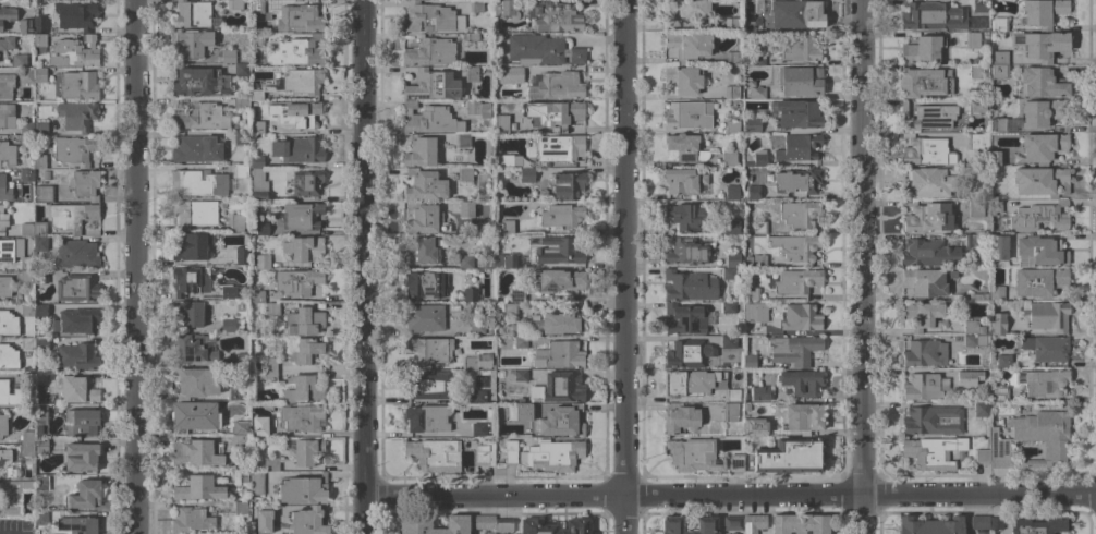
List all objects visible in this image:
building: (235, 4)
building: (475, 5)
building: (978, 5)
building: (256, 7)
building: (503, 7)
building: (689, 11)
building: (1043, 12)
building: (795, 13)
building: (75, 14)
building: (191, 14)
building: (7, 15)
building: (553, 15)
building: (435, 16)
building: (933, 16)
building: (300, 19)
building: (39, 24)
building: (731, 24)
building: (998, 24)
building: (24, 25)
building: (472, 37)
building: (256, 39)
building: (972, 40)
building: (7, 43)
building: (39, 43)
building: (191, 43)
building: (687, 45)
building: (1040, 45)
building: (799, 48)
building: (541, 50)
building: (922, 50)
building: (296, 51)
building: (73, 52)
building: (429, 52)
building: (228, 57)
building: (731, 58)
building: (1000, 58)
building: (754, 60)
building: (19, 61)
building: (241, 70)
building: (975, 71)
building: (1000, 72)
building: (39, 74)
building: (471, 74)
building: (25, 75)
building: (510, 75)
building: (682, 80)
building: (800, 81)
building: (199, 82)
building: (300, 82)
building: (924, 82)
building: (1042, 82)
building: (5, 85)
building: (431, 85)
building: (555, 85)
building: (78, 86)
building: (730, 92)
building: (756, 94)
building: (256, 95)
building: (241, 102)
building: (975, 106)
building: (477, 109)
building: (555, 113)
building: (795, 113)
building: (1044, 113)
building: (5, 114)
building: (296, 114)
building: (689, 114)
building: (76, 116)
building: (199, 117)
building: (927, 117)
building: (428, 119)
building: (501, 123)
building: (752, 124)
building: (998, 125)
building: (256, 126)
building: (732, 126)
building: (40, 129)
building: (26, 135)
building: (241, 137)
building: (462, 141)
building: (977, 142)
building: (684, 147)
building: (799, 147)
building: (1043, 147)
building: (559, 148)
building: (73, 149)
building: (196, 149)
building: (297, 150)
building: (927, 151)
building: (8, 153)
building: (421, 153)
building: (729, 155)
building: (759, 158)
building: (996, 158)
building: (506, 160)
building: (39, 161)
building: (256, 162)
building: (241, 171)
building: (26, 174)
building: (464, 174)
building: (526, 174)
building: (683, 181)
building: (799, 181)
building: (1040, 181)
building: (306, 182)
building: (928, 182)
building: (197, 183)
building: (85, 184)
building: (258, 185)
building: (424, 185)
building: (567, 185)
building: (3, 190)
building: (732, 193)
building: (751, 193)
building: (42, 194)
building: (995, 206)
building: (465, 208)
building: (975, 208)
building: (194, 213)
building: (799, 214)
building: (71, 216)
building: (301, 216)
building: (560, 216)
building: (685, 216)
building: (929, 217)
building: (1040, 217)
building: (2, 219)
building: (422, 219)
building: (235, 222)
building: (507, 227)
building: (728, 227)
building: (758, 227)
building: (26, 229)
building: (39, 229)
building: (261, 229)
building: (972, 240)
building: (40, 243)
building: (795, 246)
building: (191, 247)
building: (999, 247)
building: (306, 248)
building: (424, 251)
building: (558, 251)
building: (687, 251)
building: (1039, 251)
building: (13, 252)
building: (928, 253)
building: (75, 254)
building: (241, 256)
building: (732, 259)
building: (261, 260)
building: (759, 260)
building: (464, 262)
building: (504, 262)
road: (133, 266)
road: (623, 266)
road: (863, 266)
road: (366, 267)
building: (728, 274)
building: (40, 277)
building: (559, 280)
building: (26, 281)
building: (188, 281)
building: (796, 281)
building: (1038, 281)
building: (297, 282)
building: (926, 282)
building: (422, 283)
building: (689, 286)
building: (4, 287)
building: (76, 288)
building: (996, 289)
building: (232, 291)
building: (752, 293)
building: (470, 294)
building: (516, 295)
building: (257, 296)
building: (978, 296)
building: (728, 307)
building: (272, 308)
building: (453, 308)
building: (27, 310)
building: (506, 310)
building: (40, 311)
building: (187, 313)
building: (755, 313)
building: (922, 315)
building: (1047, 316)
building: (424, 317)
building: (801, 317)
building: (683, 319)
building: (78, 320)
building: (304, 321)
building: (8, 324)
building: (558, 324)
building: (998, 324)
building: (228, 326)
building: (476, 327)
building: (972, 327)
building: (974, 340)
building: (520, 341)
building: (728, 341)
building: (27, 343)
building: (40, 343)
building: (193, 348)
building: (1047, 348)
building: (793, 350)
building: (305, 351)
building: (428, 351)
building: (687, 353)
building: (925, 353)
building: (558, 355)
building: (76, 356)
building: (8, 357)
building: (242, 360)
building: (750, 361)
building: (476, 362)
building: (1003, 362)
building: (270, 364)
building: (520, 375)
building: (270, 376)
building: (735, 376)
building: (27, 377)
building: (967, 377)
building: (195, 383)
building: (691, 383)
building: (802, 383)
building: (1043, 383)
building: (427, 385)
building: (40, 387)
building: (923, 387)
building: (558, 388)
building: (76, 390)
building: (302, 390)
building: (234, 393)
building: (759, 393)
building: (10, 395)
building: (998, 395)
building: (731, 396)
building: (478, 397)
building: (746, 406)
building: (496, 410)
building: (981, 410)
building: (520, 412)
building: (730, 412)
building: (194, 416)
building: (800, 416)
building: (40, 417)
building: (302, 418)
building: (426, 418)
building: (680, 418)
building: (933, 421)
building: (81, 422)
building: (560, 422)
building: (2, 425)
building: (259, 426)
building: (240, 427)
building: (755, 427)
building: (478, 429)
building: (26, 437)
building: (1032, 438)
building: (239, 441)
building: (46, 445)
building: (302, 450)
building: (26, 452)
building: (198, 452)
building: (483, 452)
building: (933, 452)
building: (434, 454)
building: (545, 454)
building: (694, 454)
building: (790, 456)
building: (82, 457)
building: (982, 457)
building: (271, 463)
building: (736, 463)
building: (7, 464)
building: (240, 475)
building: (41, 483)
building: (257, 483)
building: (199, 488)
building: (303, 489)
building: (85, 494)
building: (12, 497)
road: (731, 497)
building: (240, 508)
building: (265, 517)
building: (40, 518)
building: (190, 520)
building: (307, 521)
building: (979, 522)
building: (485, 523)
building: (733, 523)
building: (754, 523)
building: (996, 523)
building: (77, 524)
building: (800, 524)
building: (414, 525)
building: (503, 525)
building: (706, 525)
building: (930, 525)
building: (1039, 525)
building: (553, 526)
building: (982, 532)
building: (733, 533)

